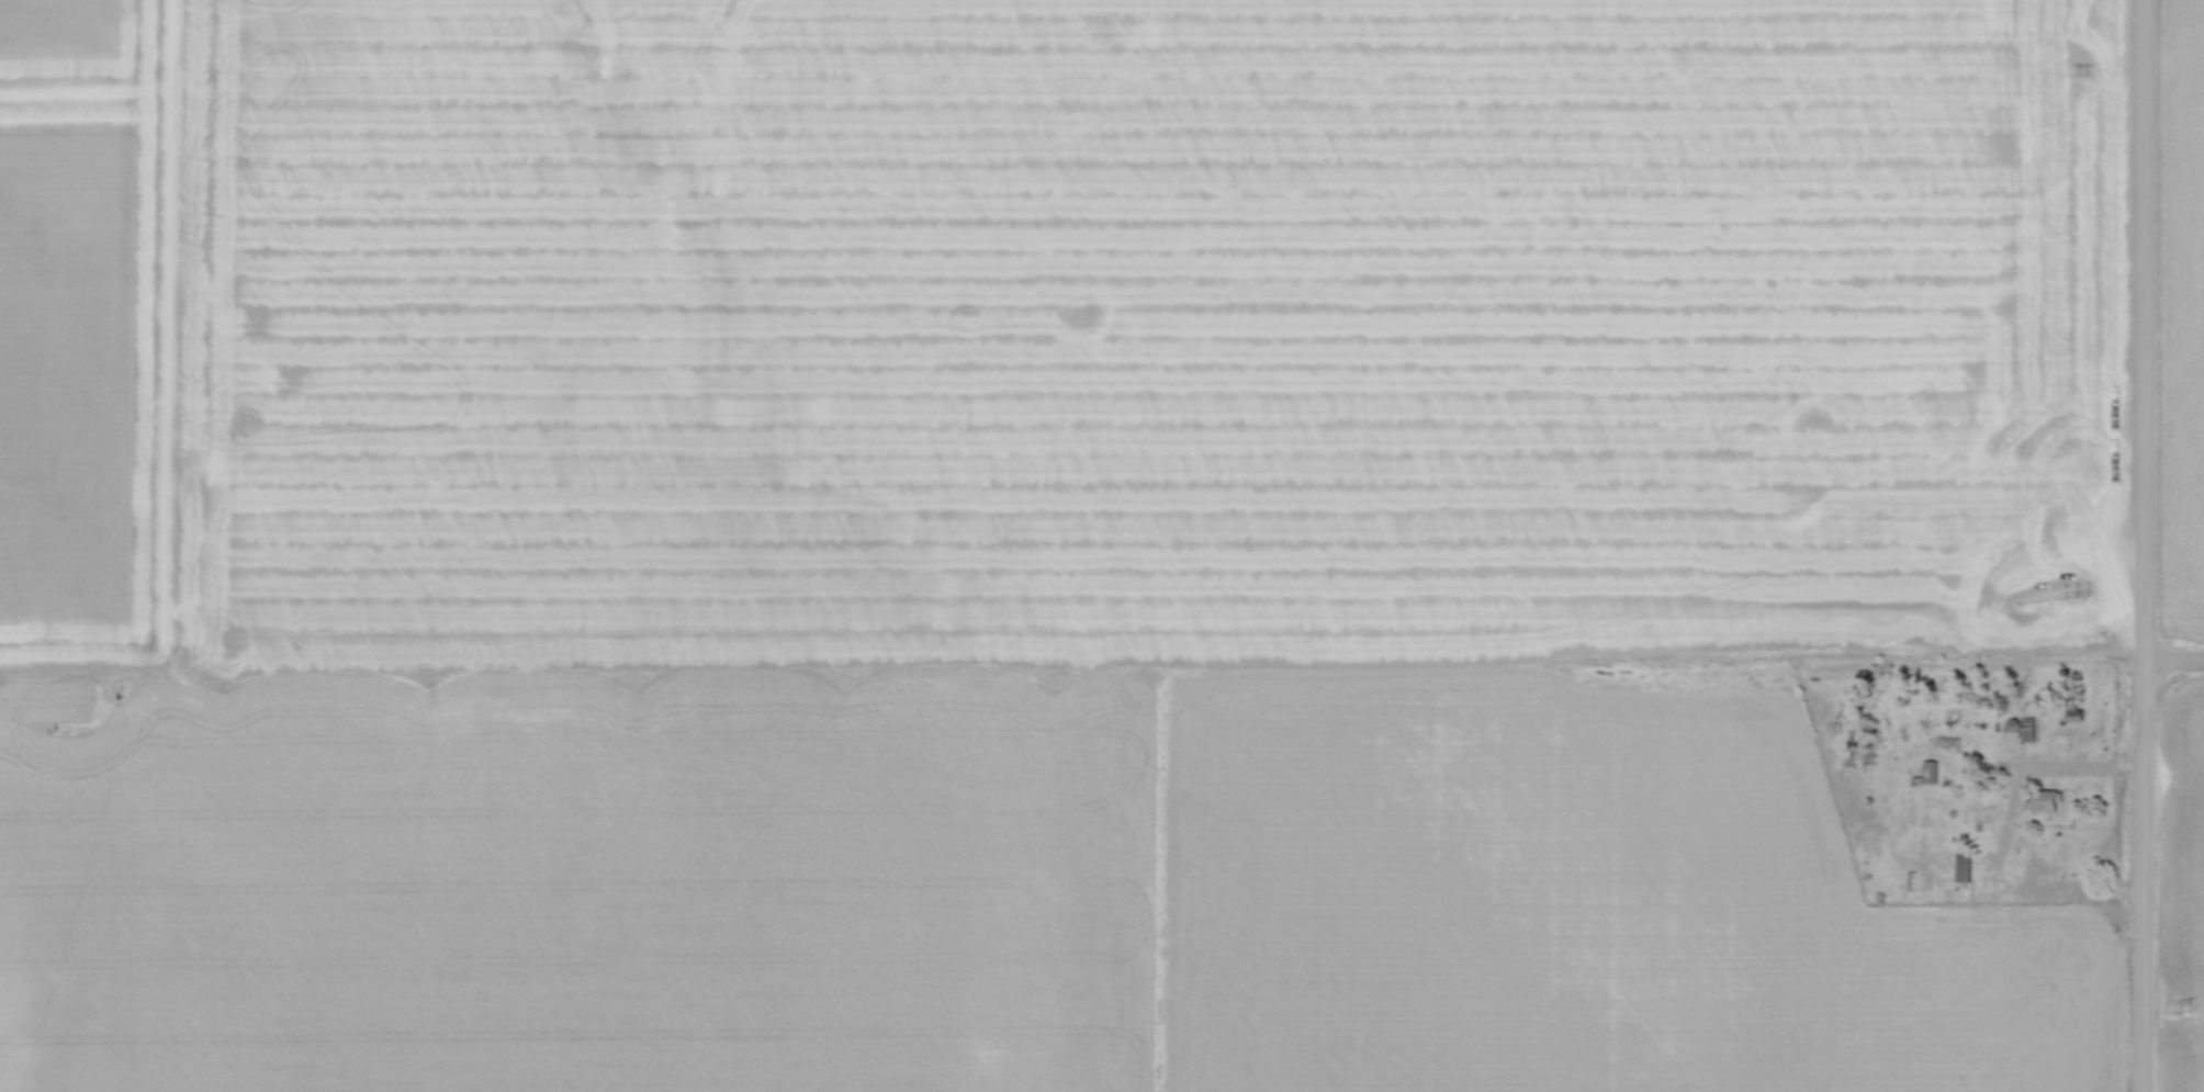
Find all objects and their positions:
power tower: (2078, 75)
crop: (2183, 328)
crop: (1027, 537)
road: (2145, 545)
power tower: (2076, 598)
road: (2174, 660)
building: (2072, 717)
building: (2012, 723)
silo: (2012, 723)
building: (2028, 735)
building: (1948, 744)
road: (2067, 772)
building: (1925, 775)
building: (2047, 800)
building: (1963, 865)
crop: (2182, 891)
power tower: (2182, 1012)

